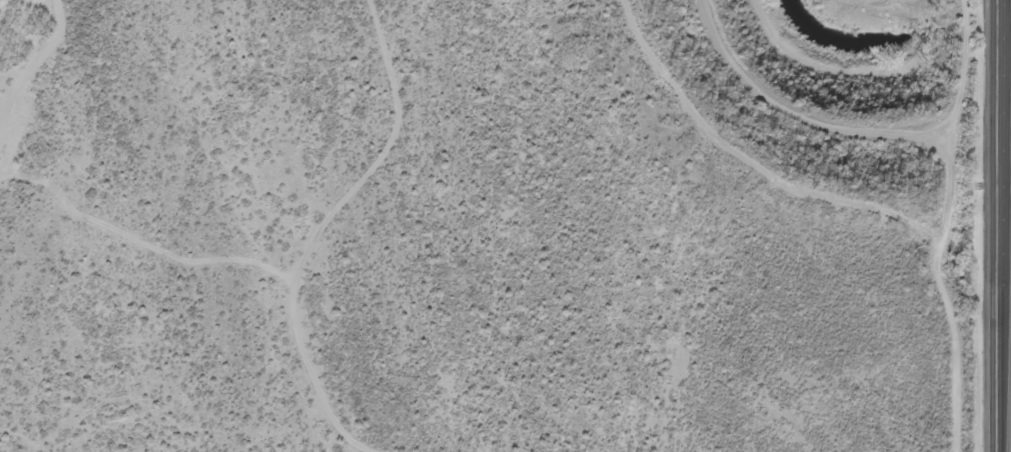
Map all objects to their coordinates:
road: (337, 222)
road: (1001, 225)
road: (1006, 442)

